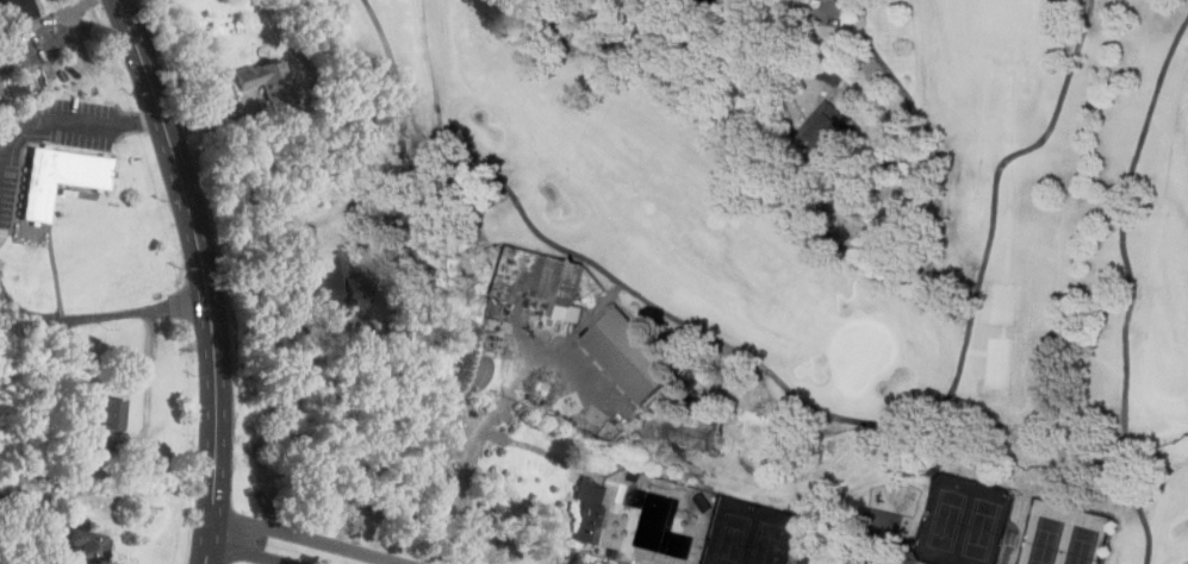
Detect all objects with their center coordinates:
building: (17, 10)
road: (807, 10)
road: (776, 45)
road: (391, 71)
building: (270, 82)
building: (17, 90)
road: (144, 117)
road: (52, 120)
building: (826, 125)
road: (434, 148)
building: (58, 177)
road: (205, 276)
building: (565, 283)
building: (336, 284)
road: (1131, 284)
road: (185, 301)
park: (802, 307)
road: (73, 318)
park: (864, 352)
building: (629, 355)
building: (474, 370)
road: (359, 396)
road: (499, 403)
building: (112, 412)
road: (875, 424)
building: (695, 428)
building: (74, 437)
building: (589, 508)
park: (964, 520)
park: (751, 533)
park: (1064, 534)
road: (311, 537)
building: (91, 543)
road: (11, 550)
road: (253, 552)
road: (416, 554)

